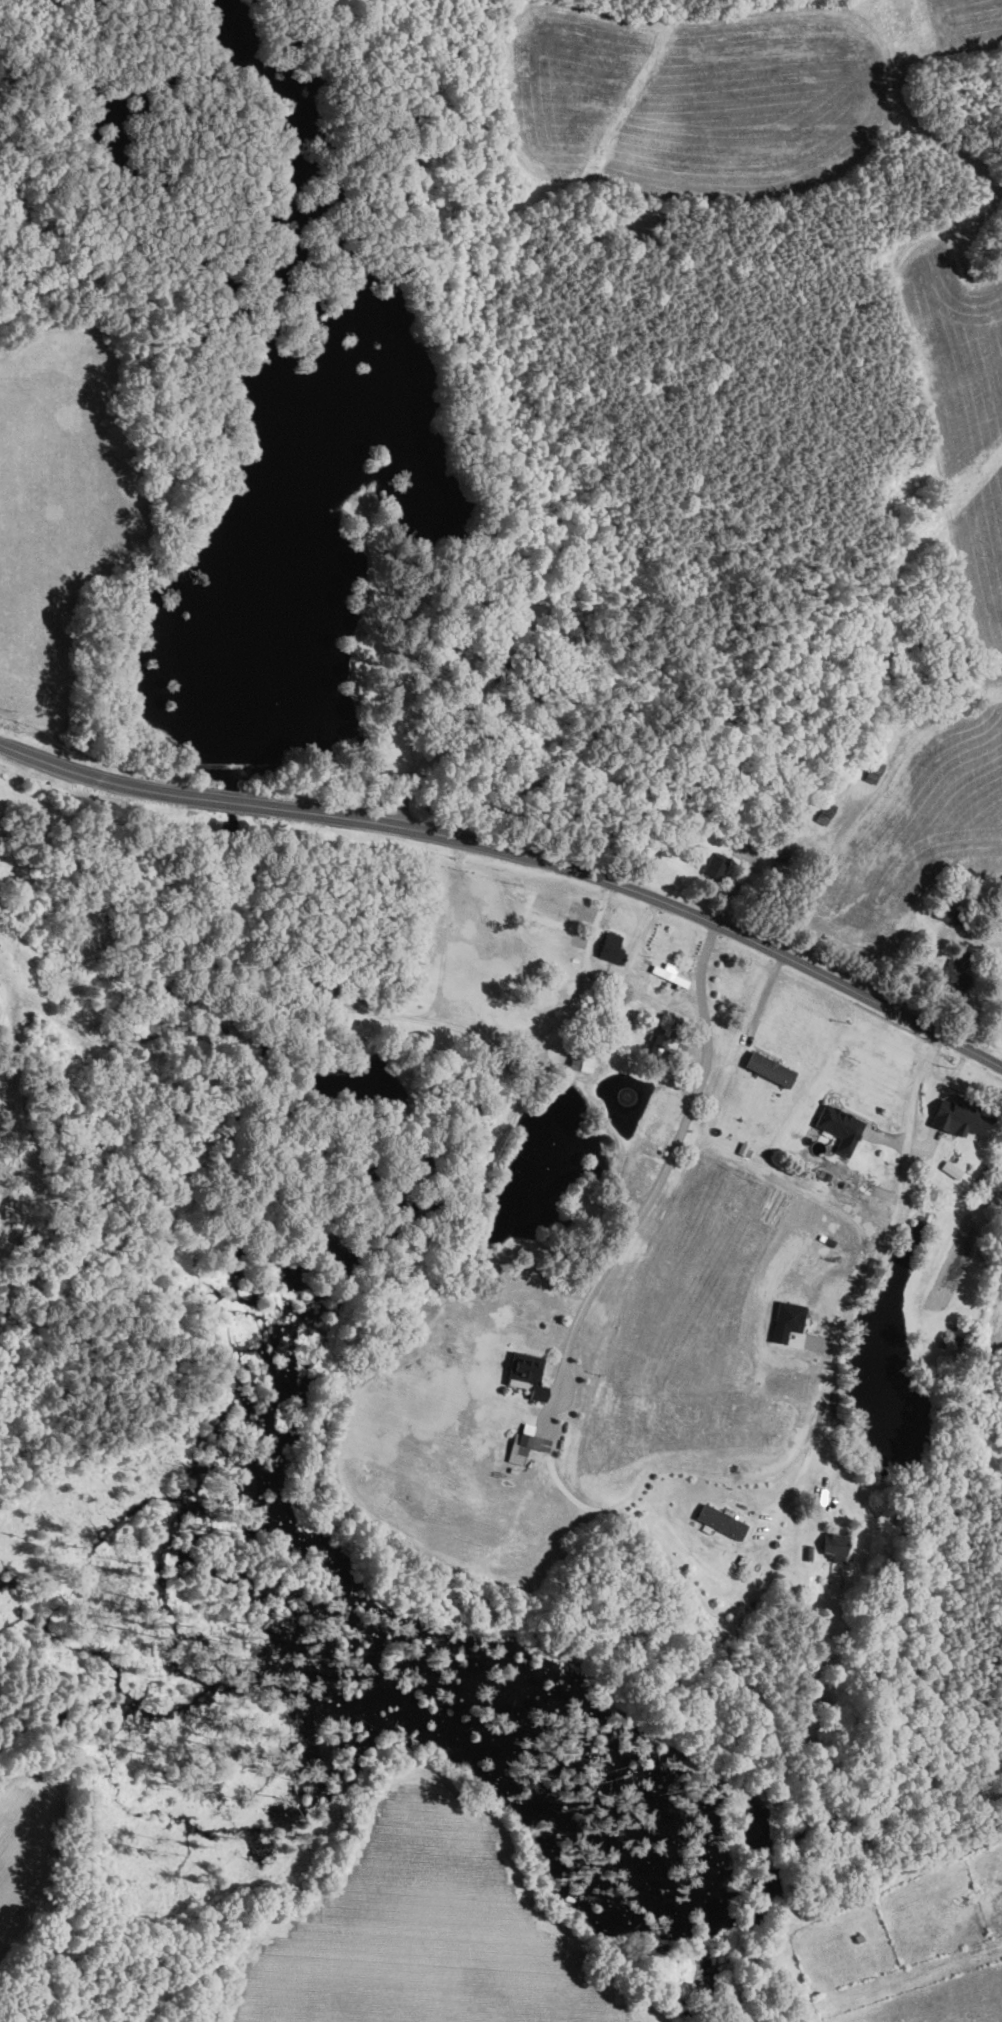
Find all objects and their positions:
road: (64, 765)
building: (872, 770)
road: (229, 800)
building: (825, 812)
building: (715, 867)
road: (676, 908)
building: (949, 913)
building: (611, 947)
road: (635, 958)
road: (765, 998)
road: (552, 1040)
building: (666, 1040)
building: (581, 1061)
building: (770, 1068)
building: (958, 1116)
building: (839, 1127)
road: (671, 1147)
building: (951, 1168)
road: (872, 1264)
building: (787, 1320)
building: (527, 1374)
building: (525, 1443)
building: (721, 1521)
building: (835, 1545)

